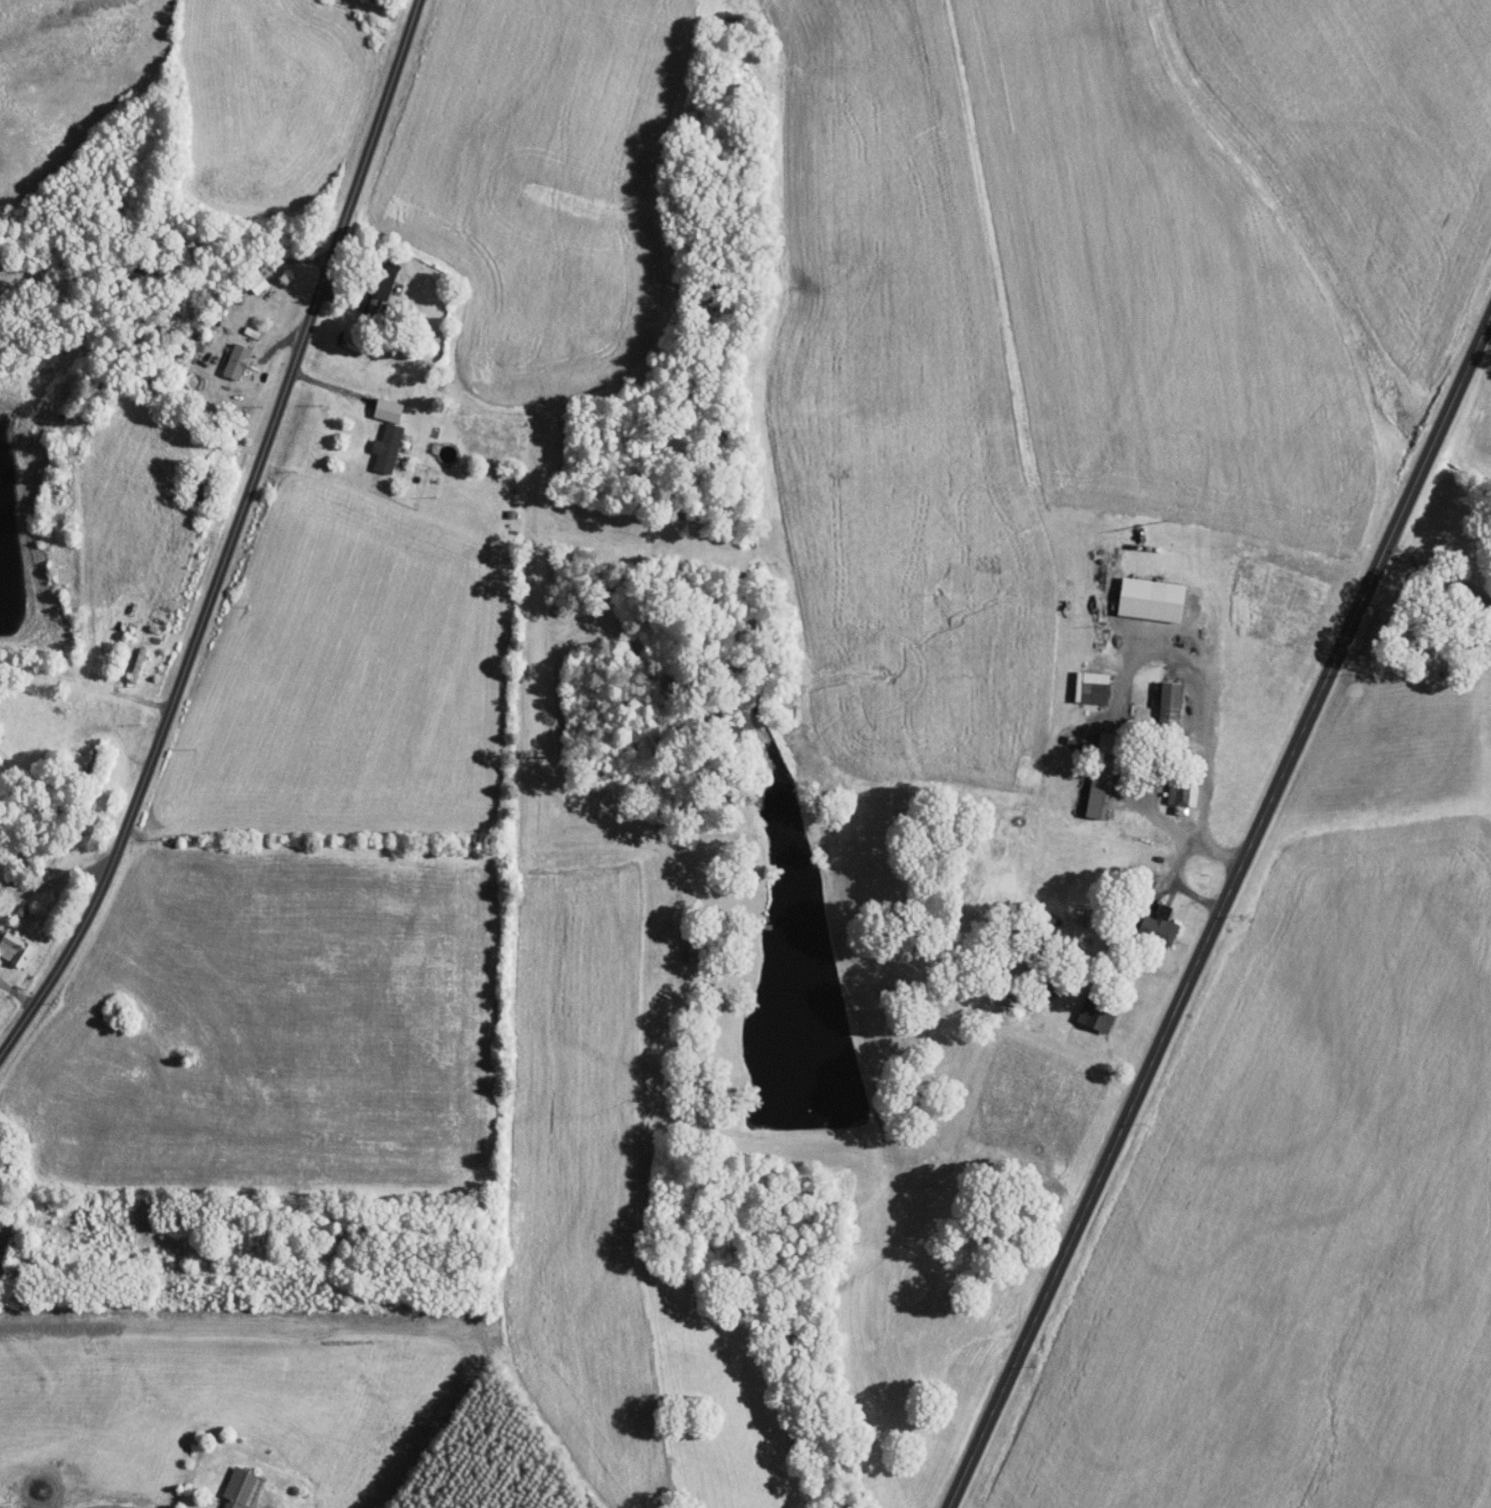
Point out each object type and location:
road: (165, 268)
road: (353, 276)
building: (238, 360)
road: (328, 407)
building: (389, 409)
road: (231, 429)
building: (389, 447)
road: (230, 533)
road: (1439, 573)
building: (1143, 598)
road: (119, 661)
building: (138, 664)
building: (1089, 686)
road: (81, 691)
building: (1165, 706)
road: (118, 761)
building: (1093, 790)
building: (1179, 793)
road: (1180, 838)
road: (50, 881)
road: (1218, 912)
road: (1172, 939)
building: (17, 947)
road: (15, 990)
building: (1099, 1013)
building: (242, 1486)

